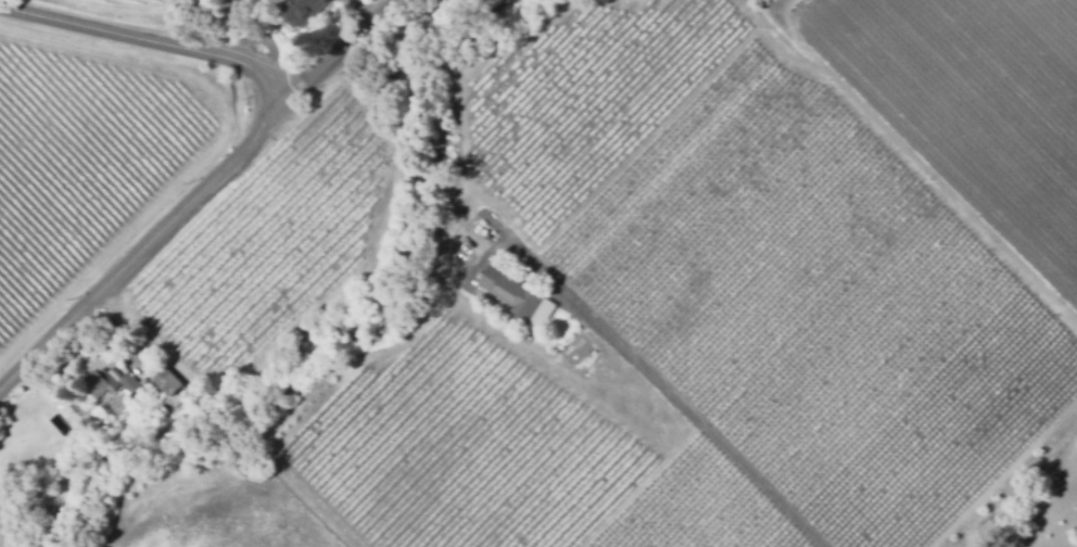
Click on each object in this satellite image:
building: (302, 9)
road: (338, 56)
road: (248, 147)
building: (514, 292)
building: (166, 383)
building: (107, 384)
road: (683, 407)
building: (157, 411)
building: (990, 526)

